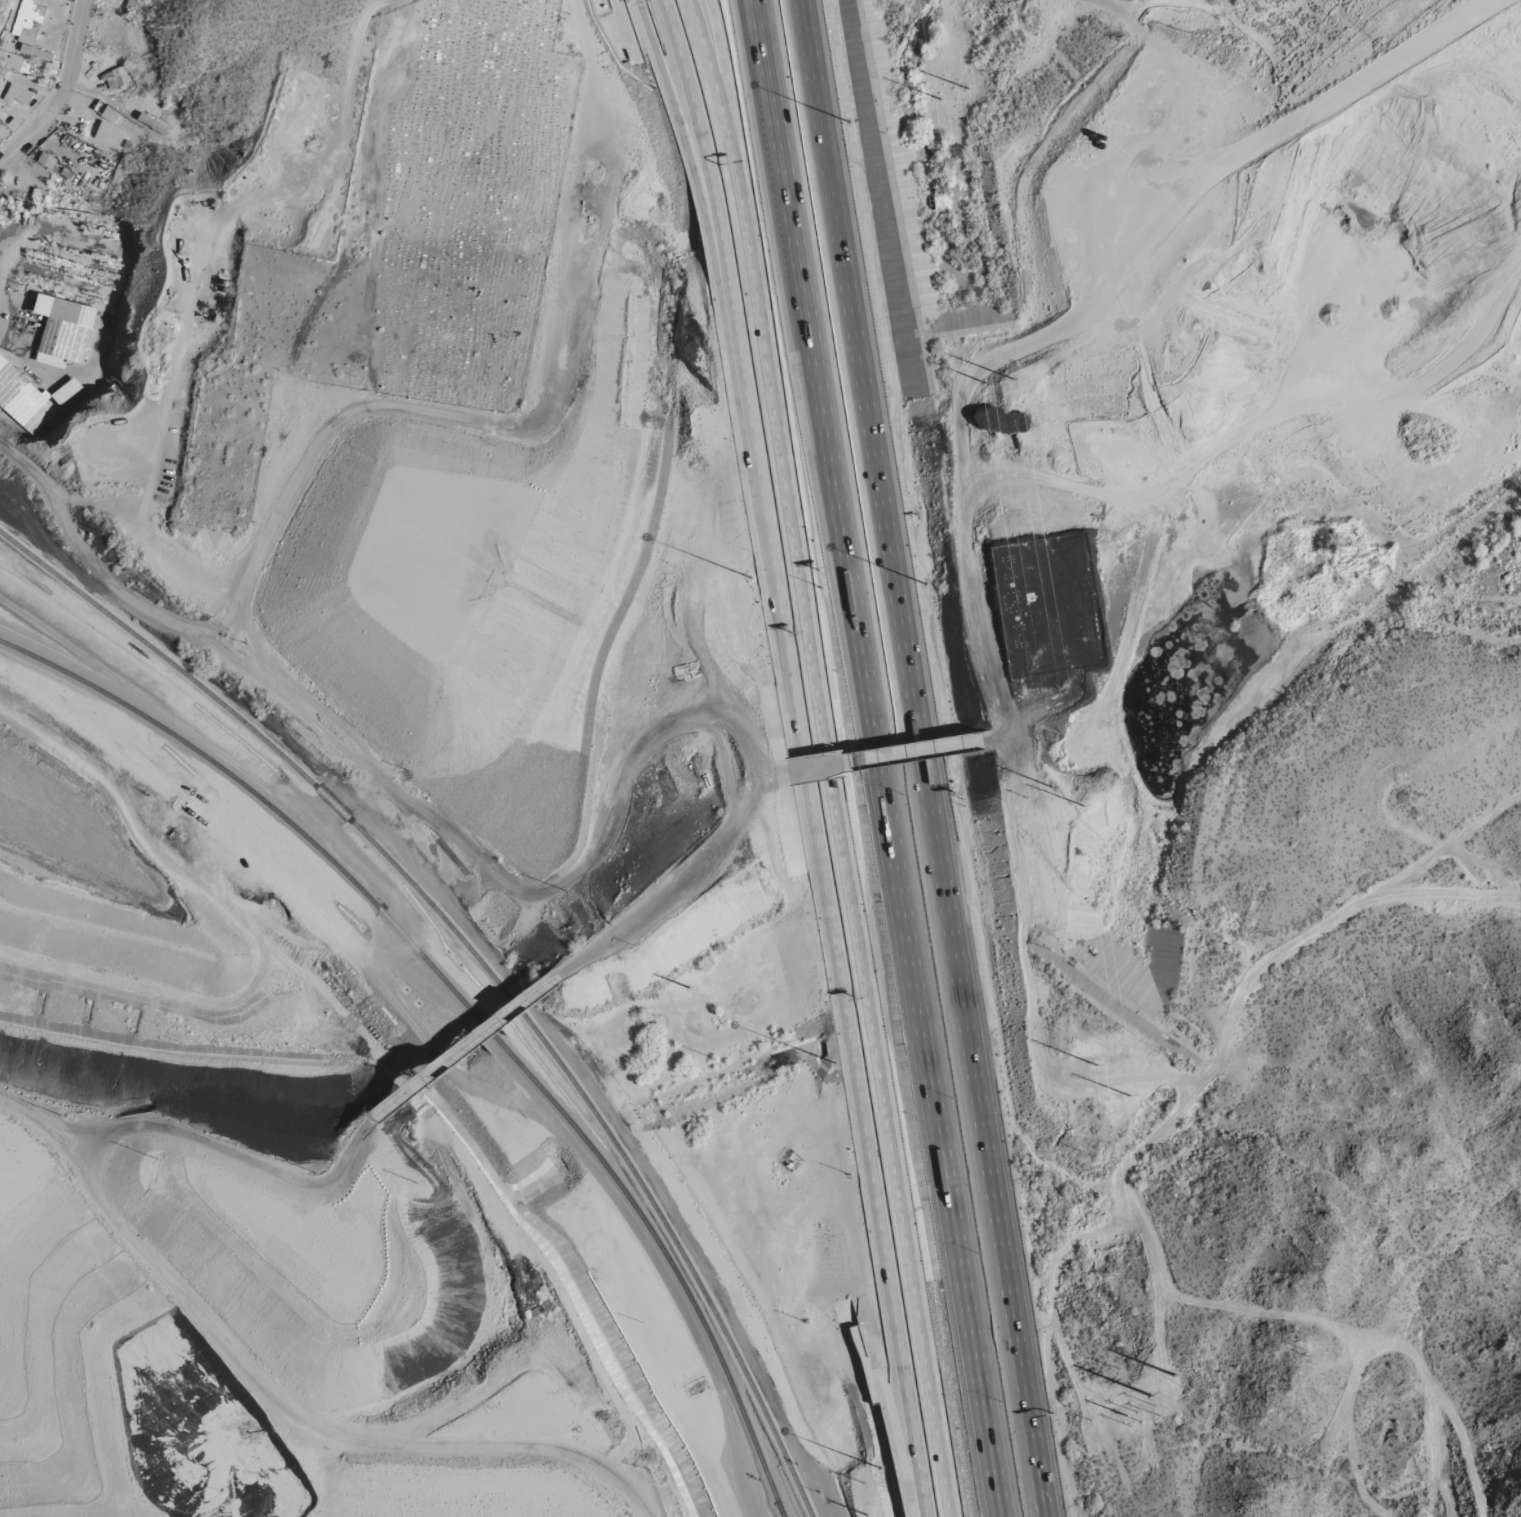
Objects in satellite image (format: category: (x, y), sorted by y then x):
road: (706, 1)
building: (110, 2)
building: (132, 4)
road: (1112, 10)
building: (28, 22)
building: (36, 53)
building: (14, 62)
building: (116, 78)
power tower: (966, 89)
road: (63, 94)
building: (17, 96)
power tower: (939, 101)
building: (109, 116)
road: (680, 123)
building: (153, 124)
building: (109, 135)
building: (47, 161)
park: (415, 241)
building: (64, 331)
power tower: (1011, 376)
power tower: (984, 379)
building: (65, 391)
building: (22, 399)
road: (298, 481)
road: (810, 755)
road: (892, 755)
road: (834, 757)
road: (881, 758)
road: (924, 758)
power tower: (1049, 783)
power tower: (1080, 804)
road: (677, 877)
road: (1475, 881)
road: (1422, 893)
railway: (481, 960)
road: (1237, 999)
railway: (461, 1005)
power tower: (1113, 1032)
power tower: (1084, 1039)
road: (464, 1047)
power tower: (1298, 1284)
road: (198, 1311)
power tower: (1299, 1344)
power tower: (1306, 1350)
power tower: (1130, 1418)
railway: (119, 1446)
railway: (775, 1509)
railway: (776, 1509)
power tower: (868, 1513)

